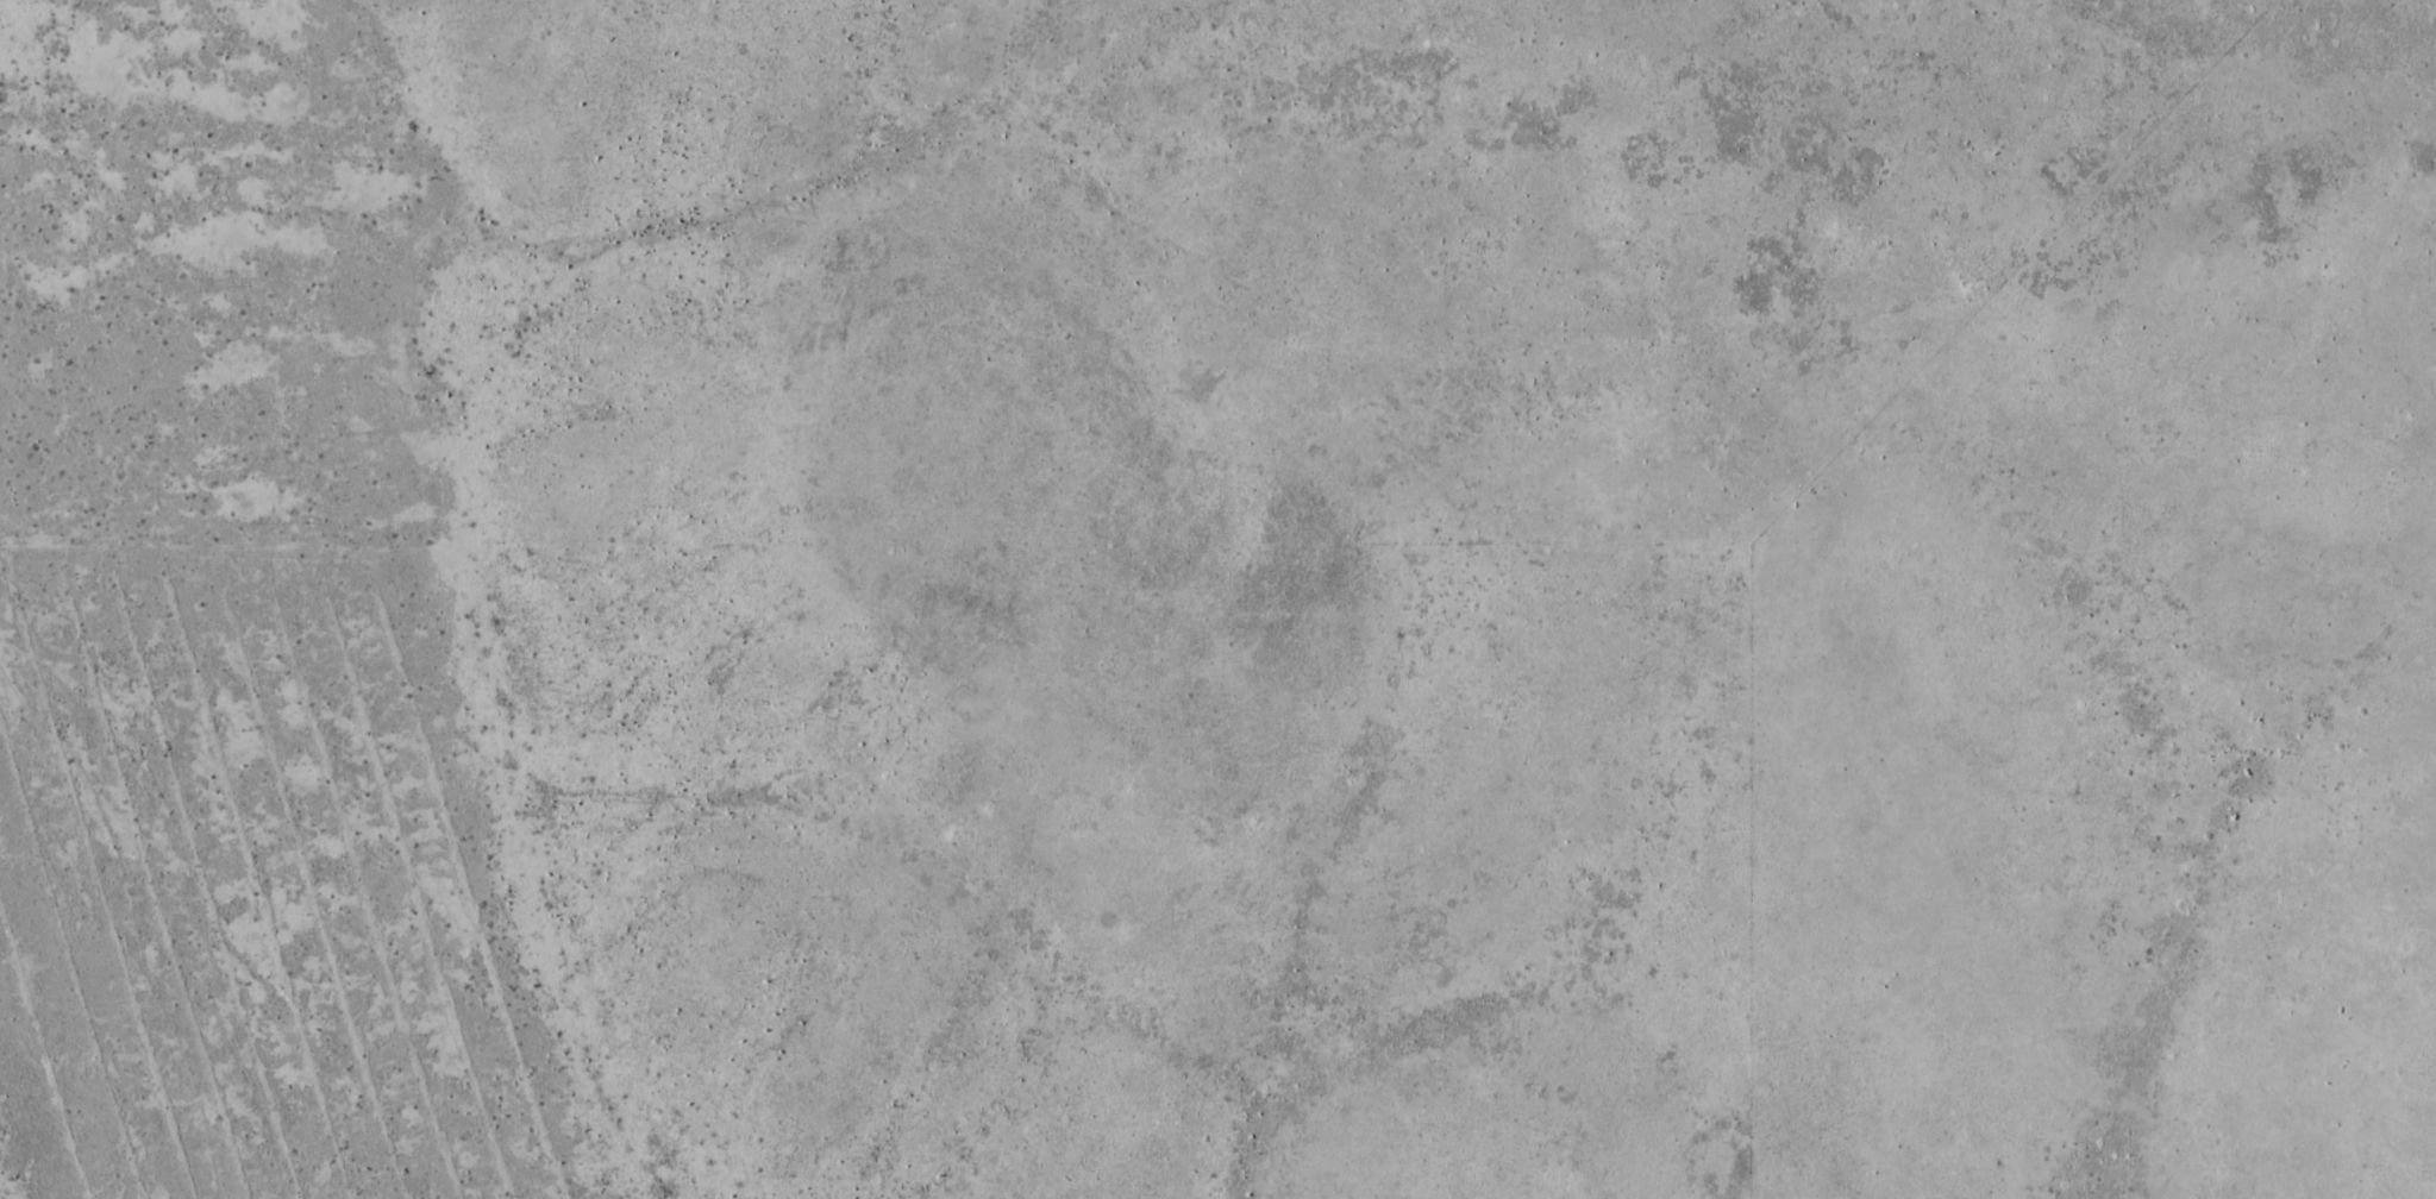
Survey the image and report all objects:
river: (328, 604)
road: (7, 1179)

